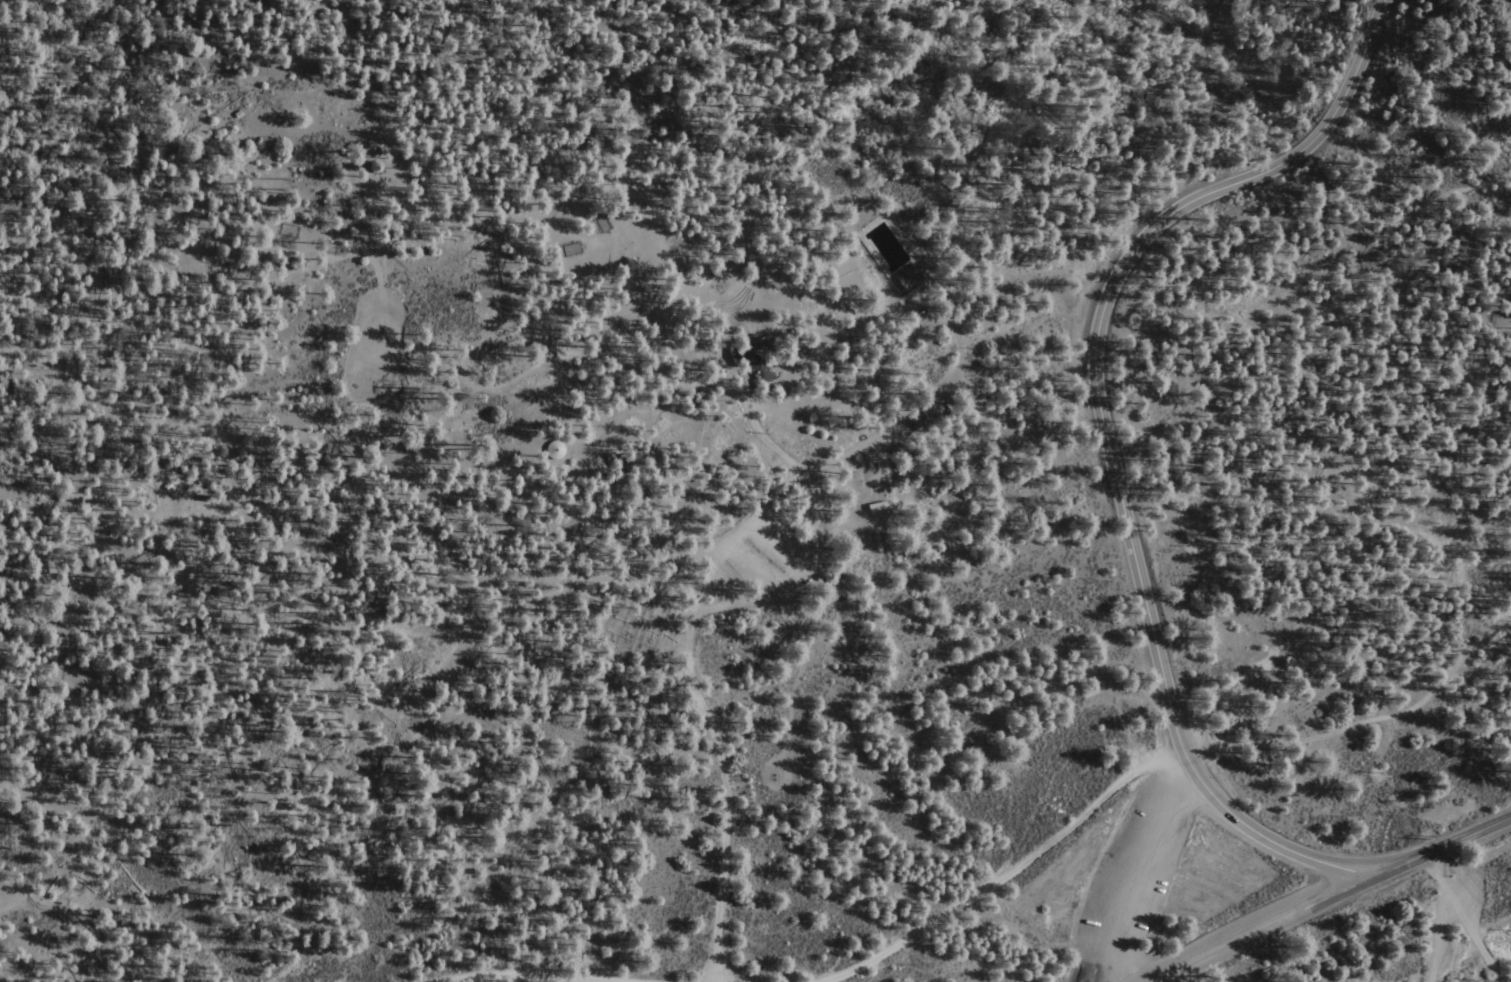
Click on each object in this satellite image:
building: (192, 218)
building: (604, 222)
road: (1356, 227)
building: (289, 230)
wastewater plant: (889, 246)
building: (574, 248)
road: (304, 268)
building: (221, 271)
building: (609, 276)
road: (544, 278)
building: (911, 278)
building: (851, 350)
road: (610, 356)
building: (757, 358)
road: (907, 408)
building: (921, 420)
road: (1106, 439)
building: (685, 487)
building: (881, 507)
road: (704, 706)
road: (1364, 722)
road: (1448, 844)
road: (1478, 864)
road: (1145, 871)
road: (1012, 872)
road: (1467, 918)
road: (1275, 924)
road: (1493, 926)
road: (1440, 938)
road: (897, 966)
road: (524, 978)
road: (0, 981)

